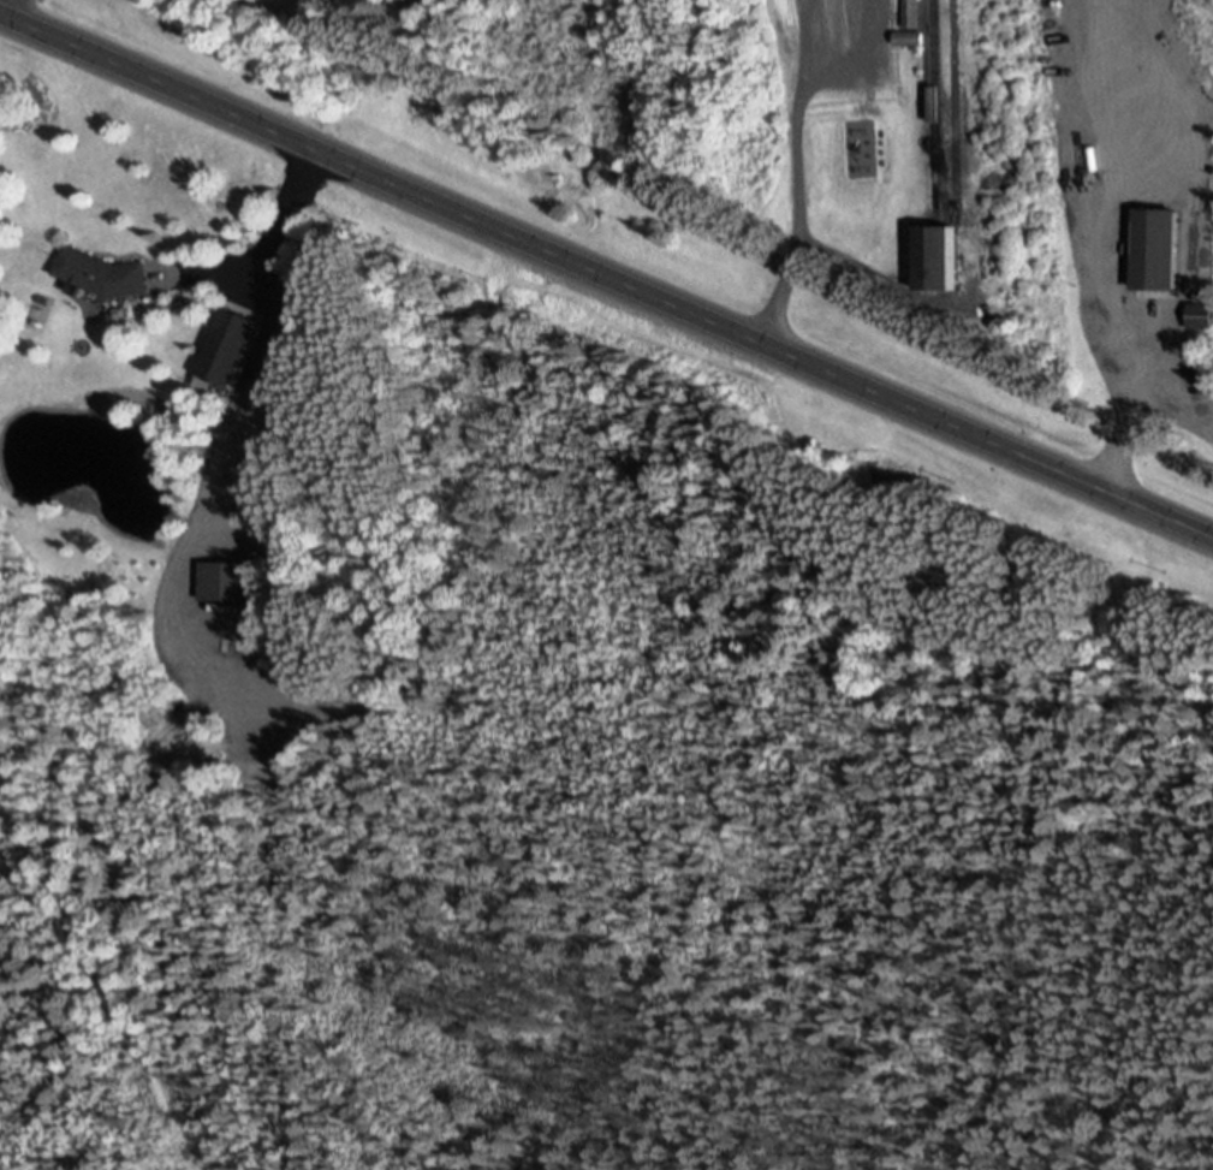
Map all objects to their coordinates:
road: (0, 1)
building: (912, 14)
building: (909, 38)
railway: (955, 113)
railway: (935, 137)
railway: (944, 191)
road: (796, 192)
road: (280, 234)
road: (1113, 249)
building: (1154, 249)
building: (935, 256)
building: (101, 273)
road: (606, 274)
building: (1200, 316)
building: (226, 352)
road: (201, 504)
building: (226, 581)

